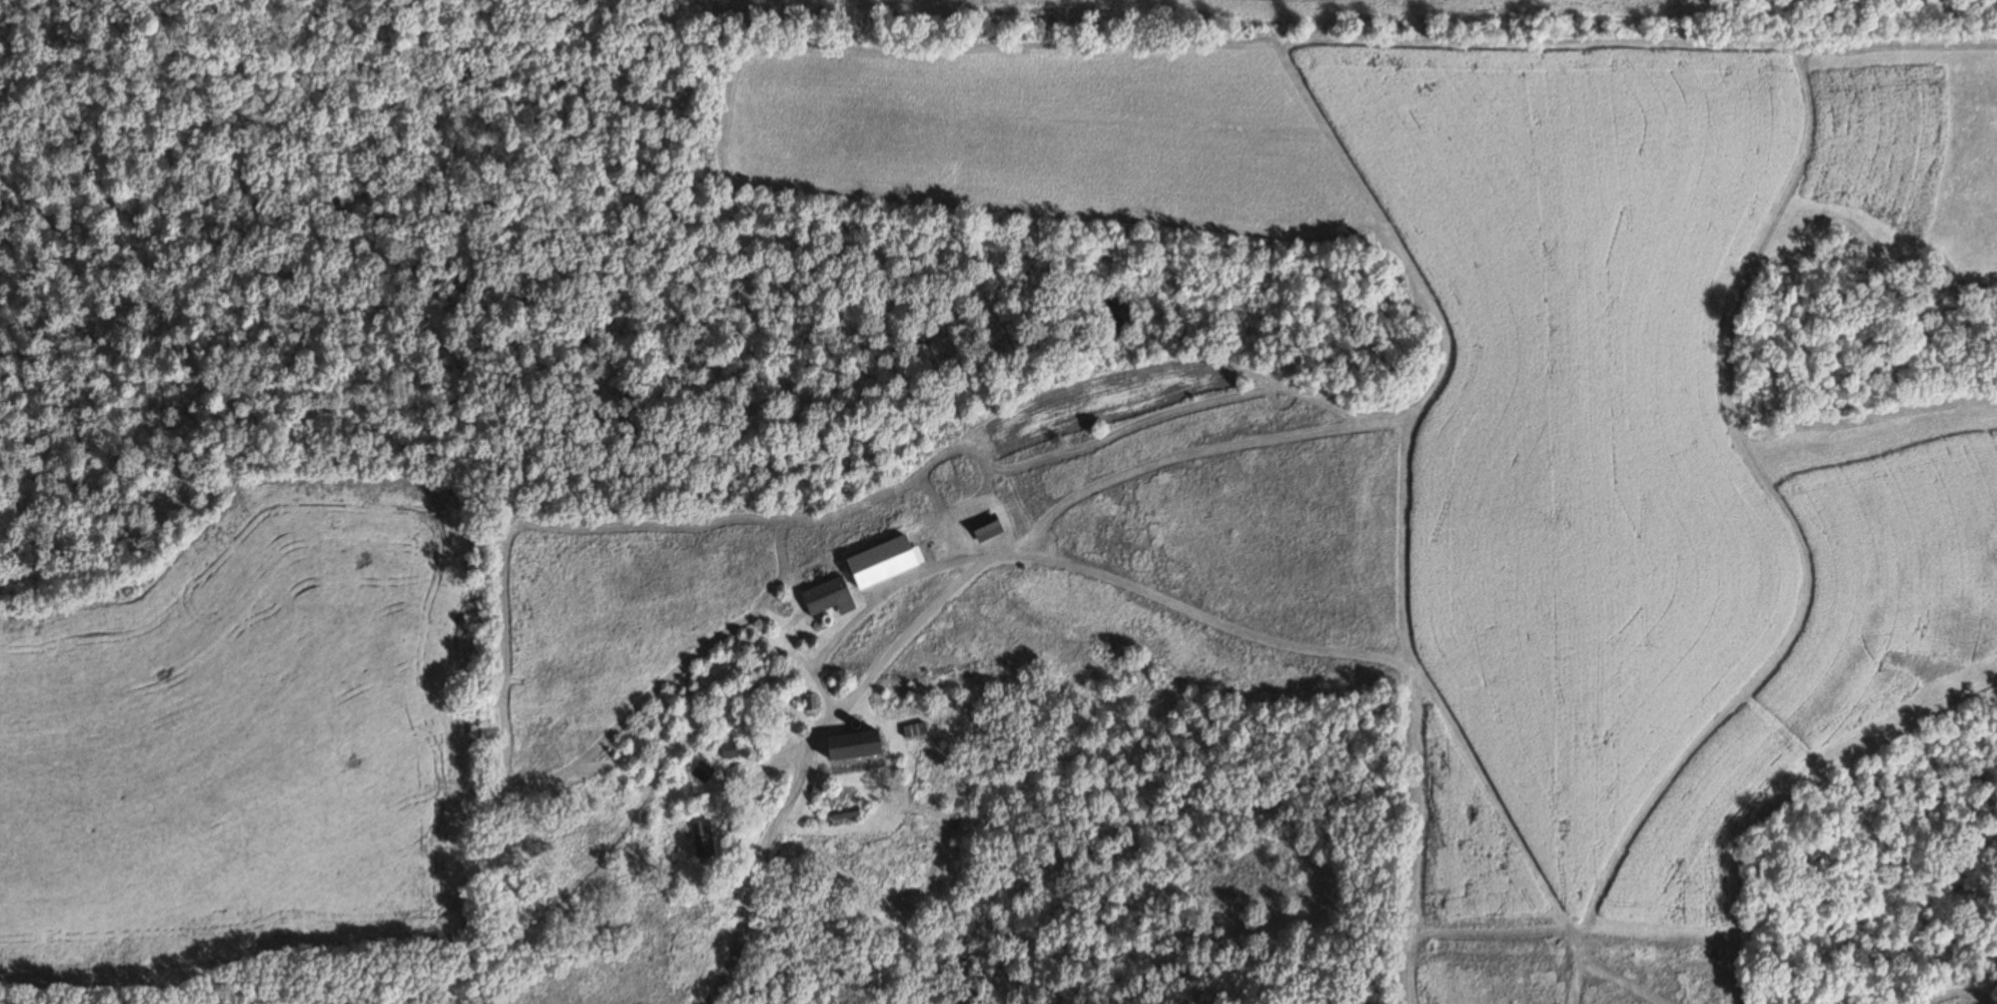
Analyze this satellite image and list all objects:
building: (983, 528)
building: (825, 598)
building: (847, 746)
building: (726, 751)
building: (700, 772)
building: (700, 840)
road: (726, 969)

